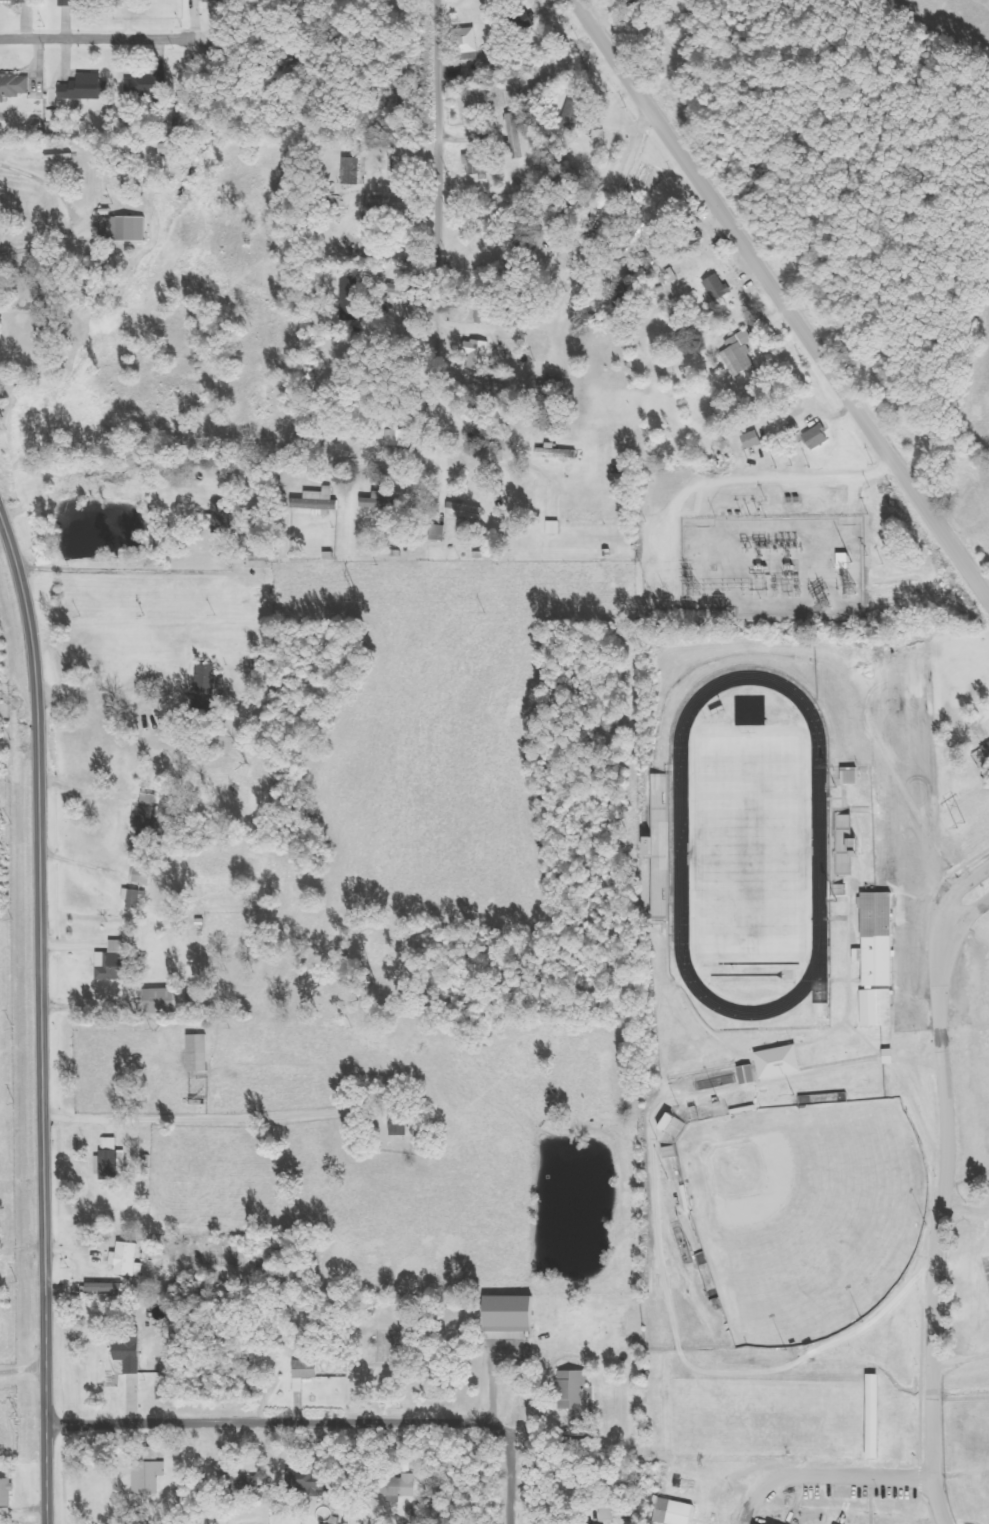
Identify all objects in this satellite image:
building: (202, 0)
building: (17, 1)
building: (70, 3)
road: (97, 37)
building: (467, 41)
building: (154, 83)
building: (15, 85)
building: (86, 88)
building: (56, 118)
building: (352, 171)
road: (614, 188)
building: (129, 228)
road: (435, 279)
building: (352, 287)
building: (718, 287)
road: (781, 300)
building: (47, 333)
building: (741, 354)
building: (402, 437)
building: (818, 437)
building: (752, 440)
building: (555, 453)
building: (326, 494)
building: (388, 502)
building: (471, 510)
building: (328, 512)
building: (586, 518)
building: (845, 562)
power substation: (772, 566)
power tower: (705, 589)
power tower: (854, 589)
power tower: (364, 594)
power tower: (834, 606)
building: (210, 687)
building: (987, 746)
building: (856, 775)
building: (152, 814)
power tower: (962, 824)
building: (666, 826)
track: (748, 844)
track: (679, 845)
building: (148, 876)
building: (136, 897)
road: (963, 926)
building: (883, 939)
building: (171, 1000)
building: (882, 1008)
road: (40, 1018)
building: (203, 1053)
building: (895, 1056)
building: (785, 1062)
building: (751, 1075)
building: (115, 1160)
road: (943, 1184)
park: (803, 1214)
building: (131, 1259)
building: (109, 1288)
building: (519, 1314)
building: (133, 1356)
building: (311, 1369)
building: (172, 1392)
building: (580, 1400)
road: (319, 1422)
road: (828, 1475)
building: (152, 1477)
building: (312, 1481)
building: (239, 1484)
building: (403, 1486)
building: (9, 1493)
building: (608, 1510)
building: (675, 1512)
building: (756, 1523)

